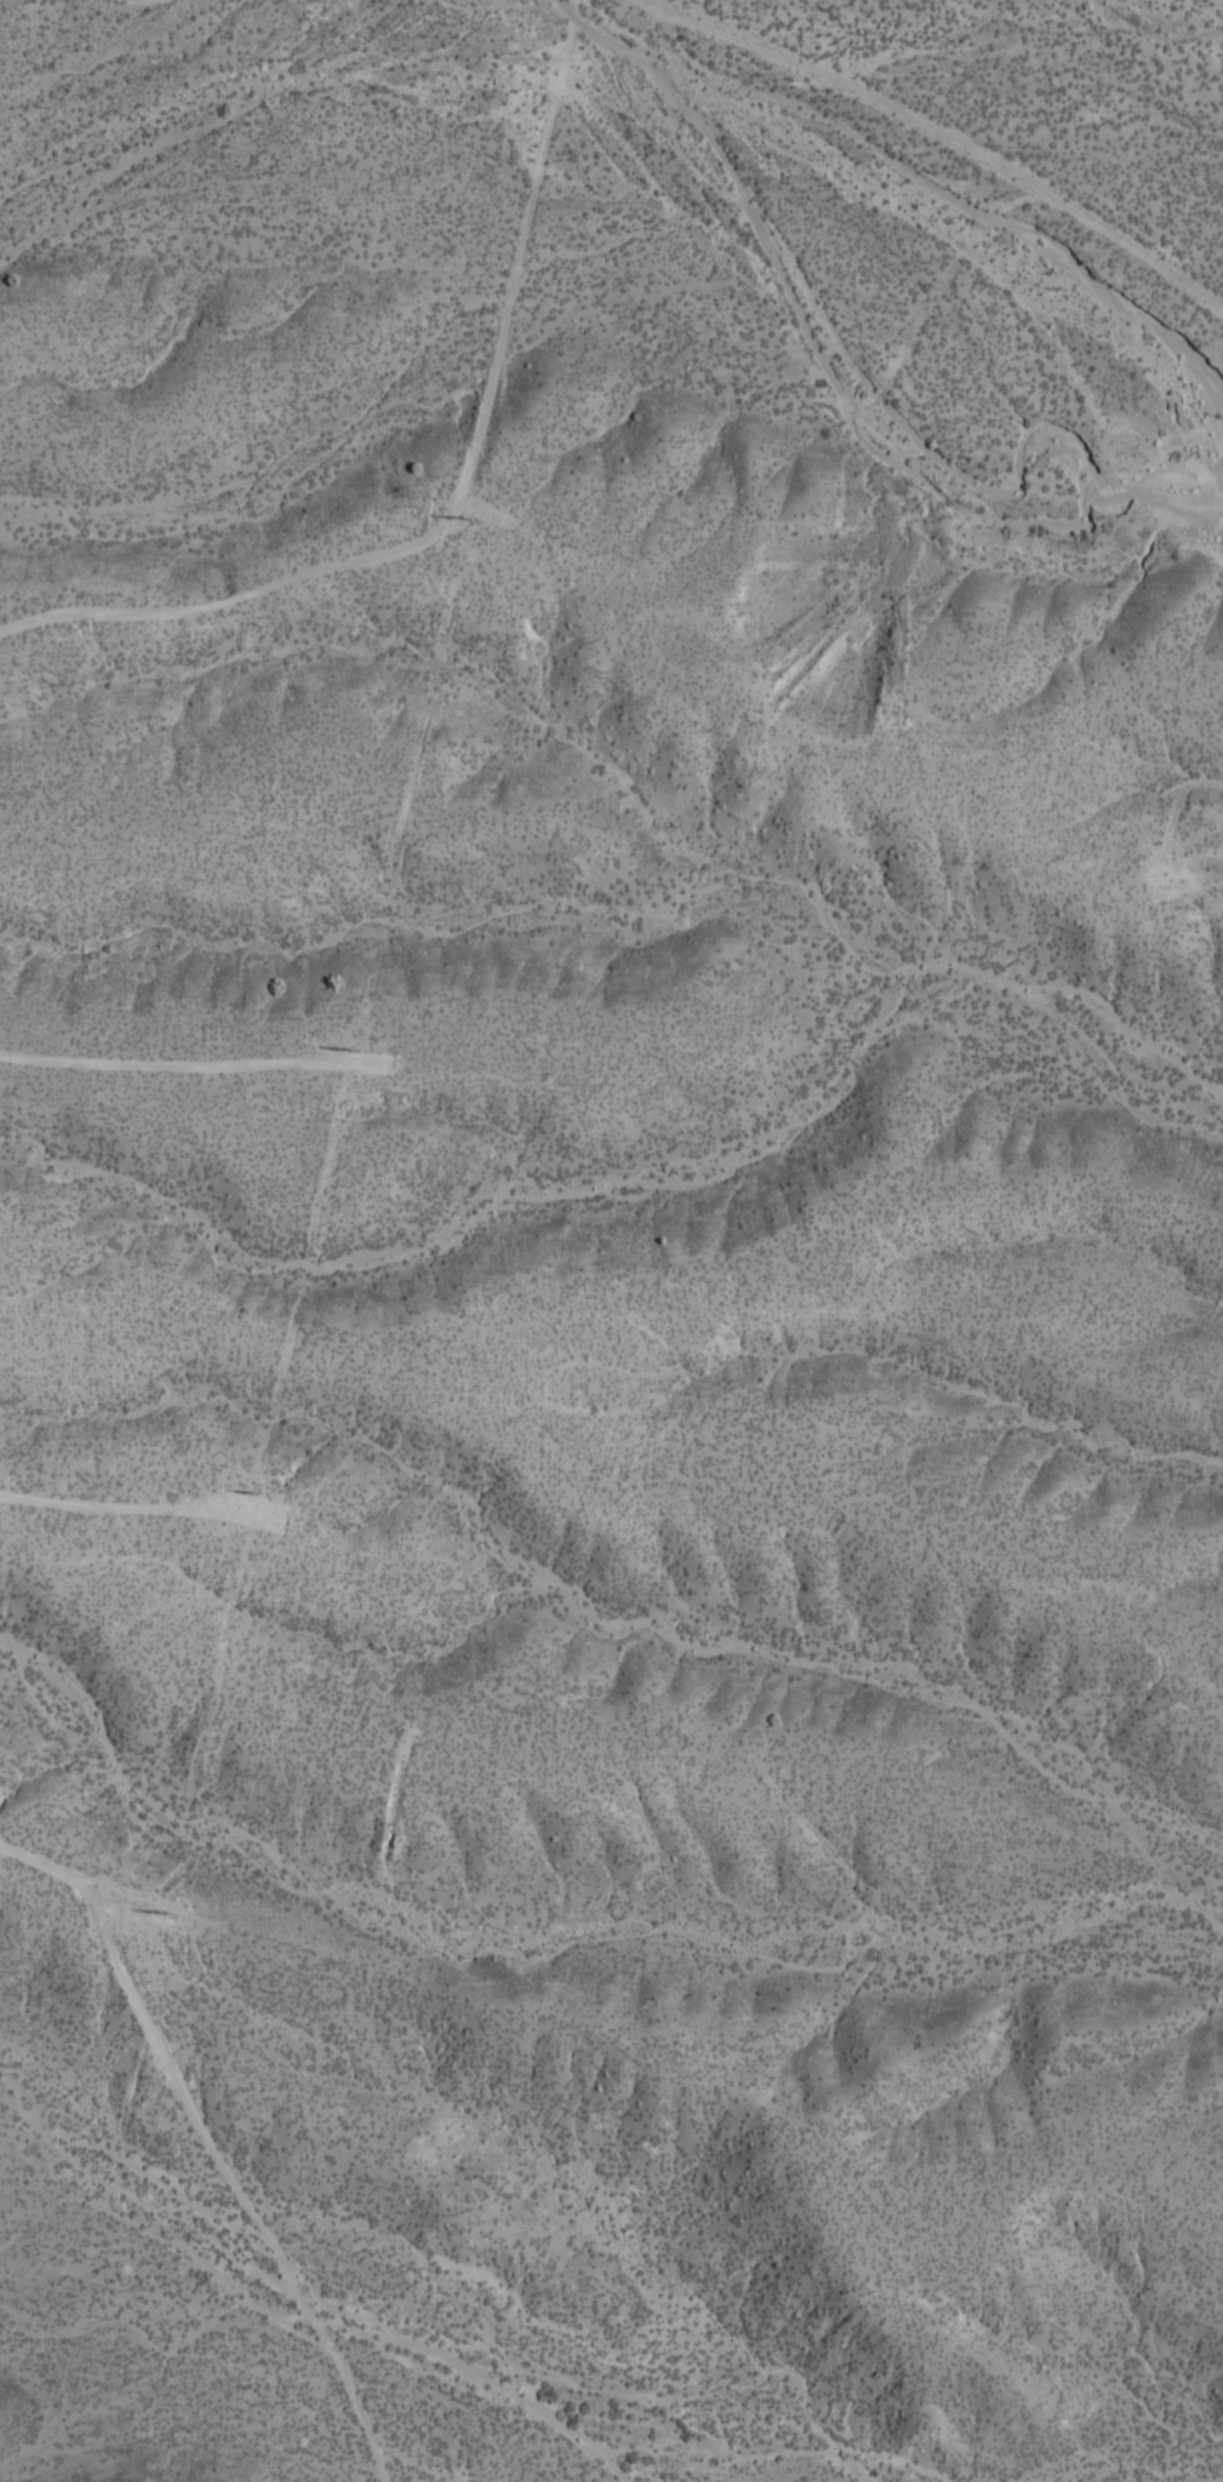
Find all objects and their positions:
road: (943, 135)
road: (459, 487)
road: (195, 1064)
road: (137, 1508)
road: (208, 2144)

